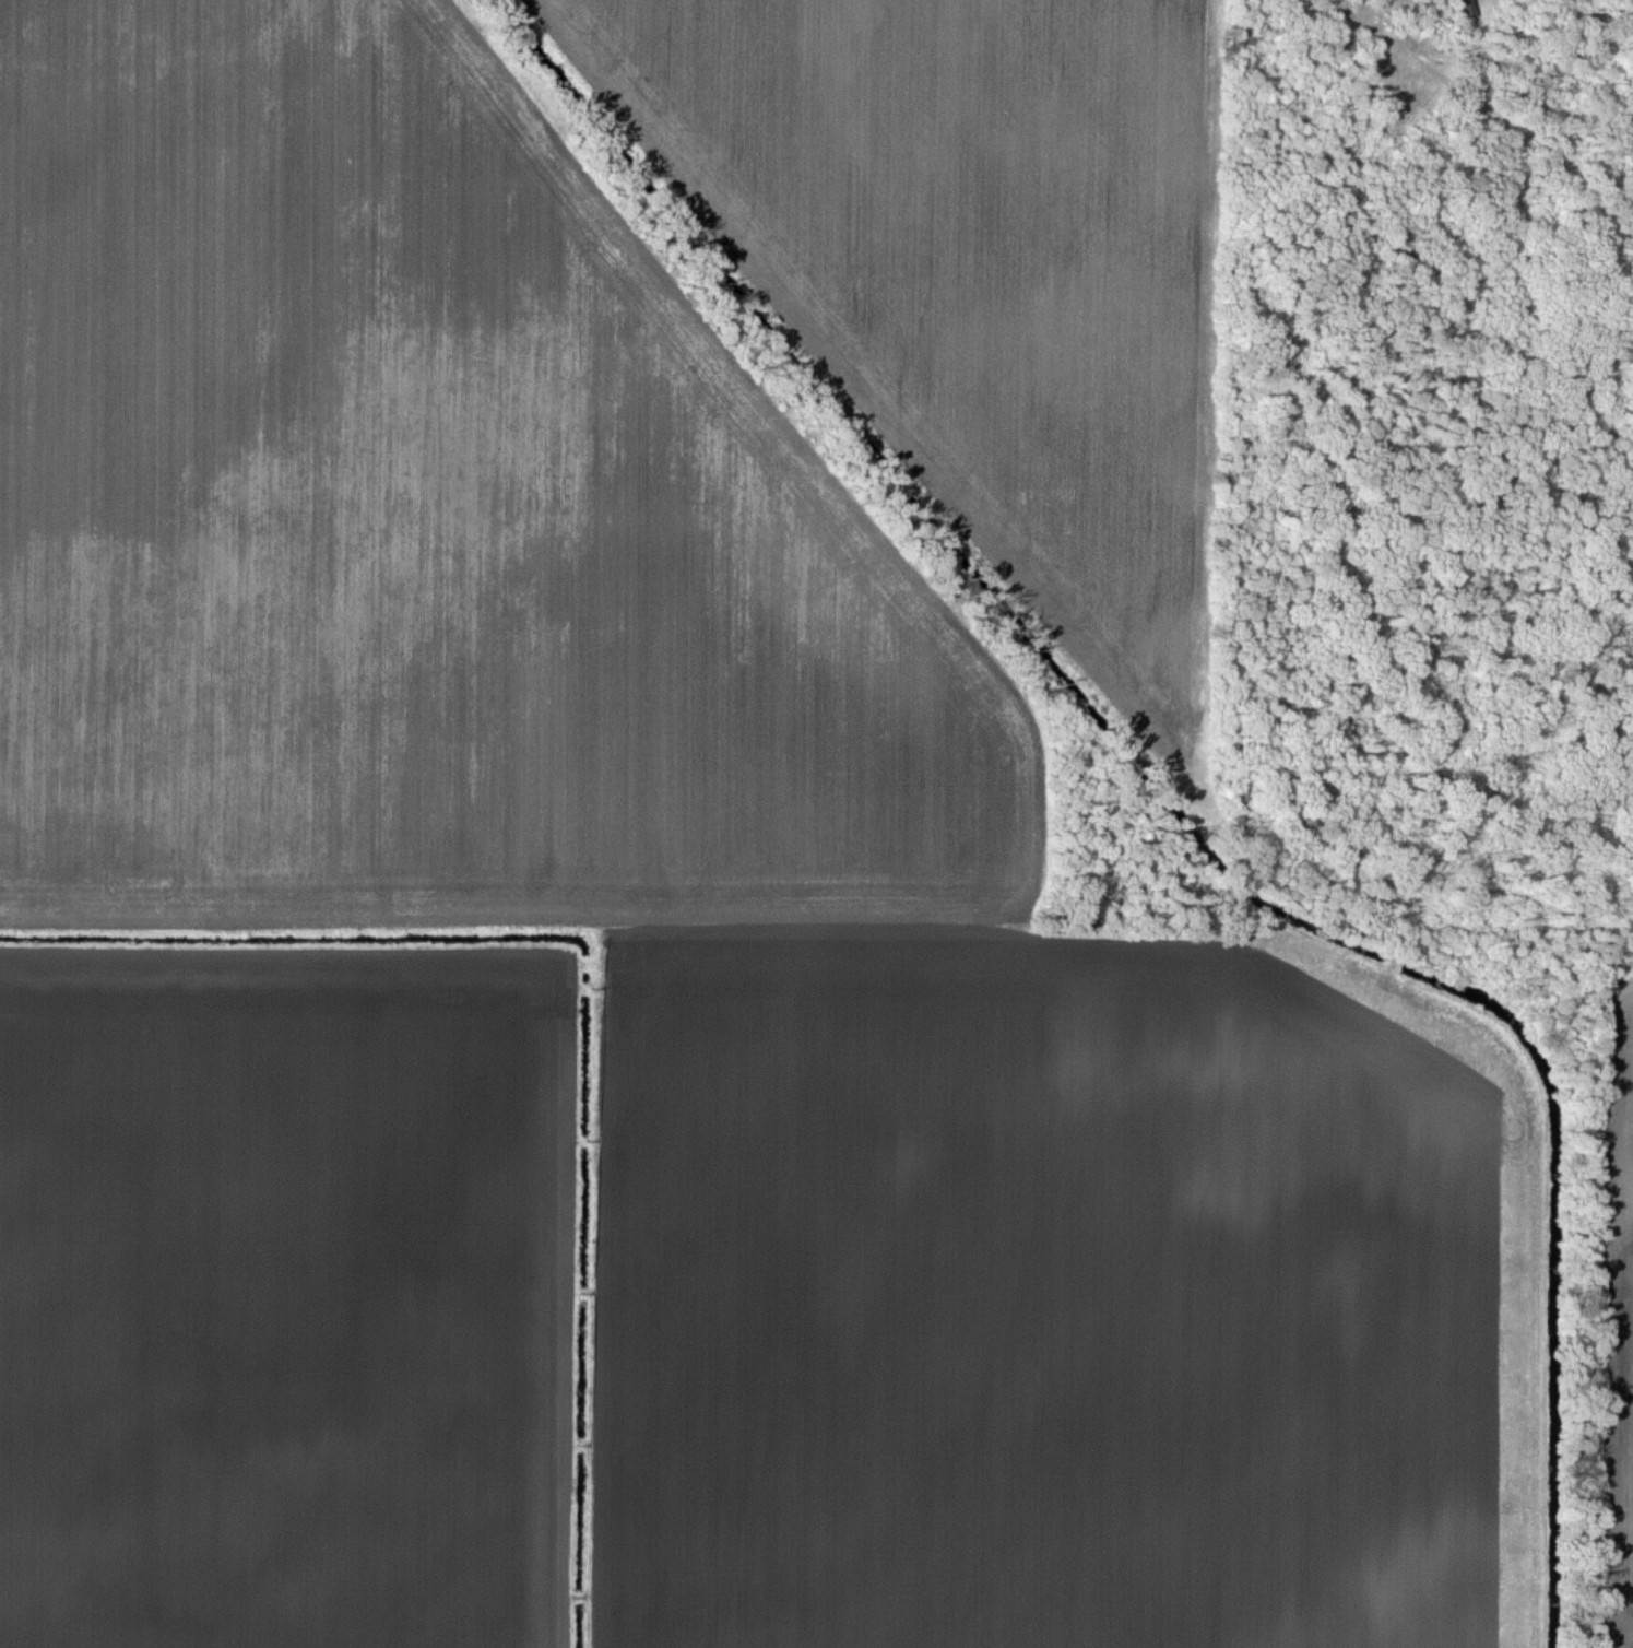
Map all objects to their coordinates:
building: (1464, 9)

